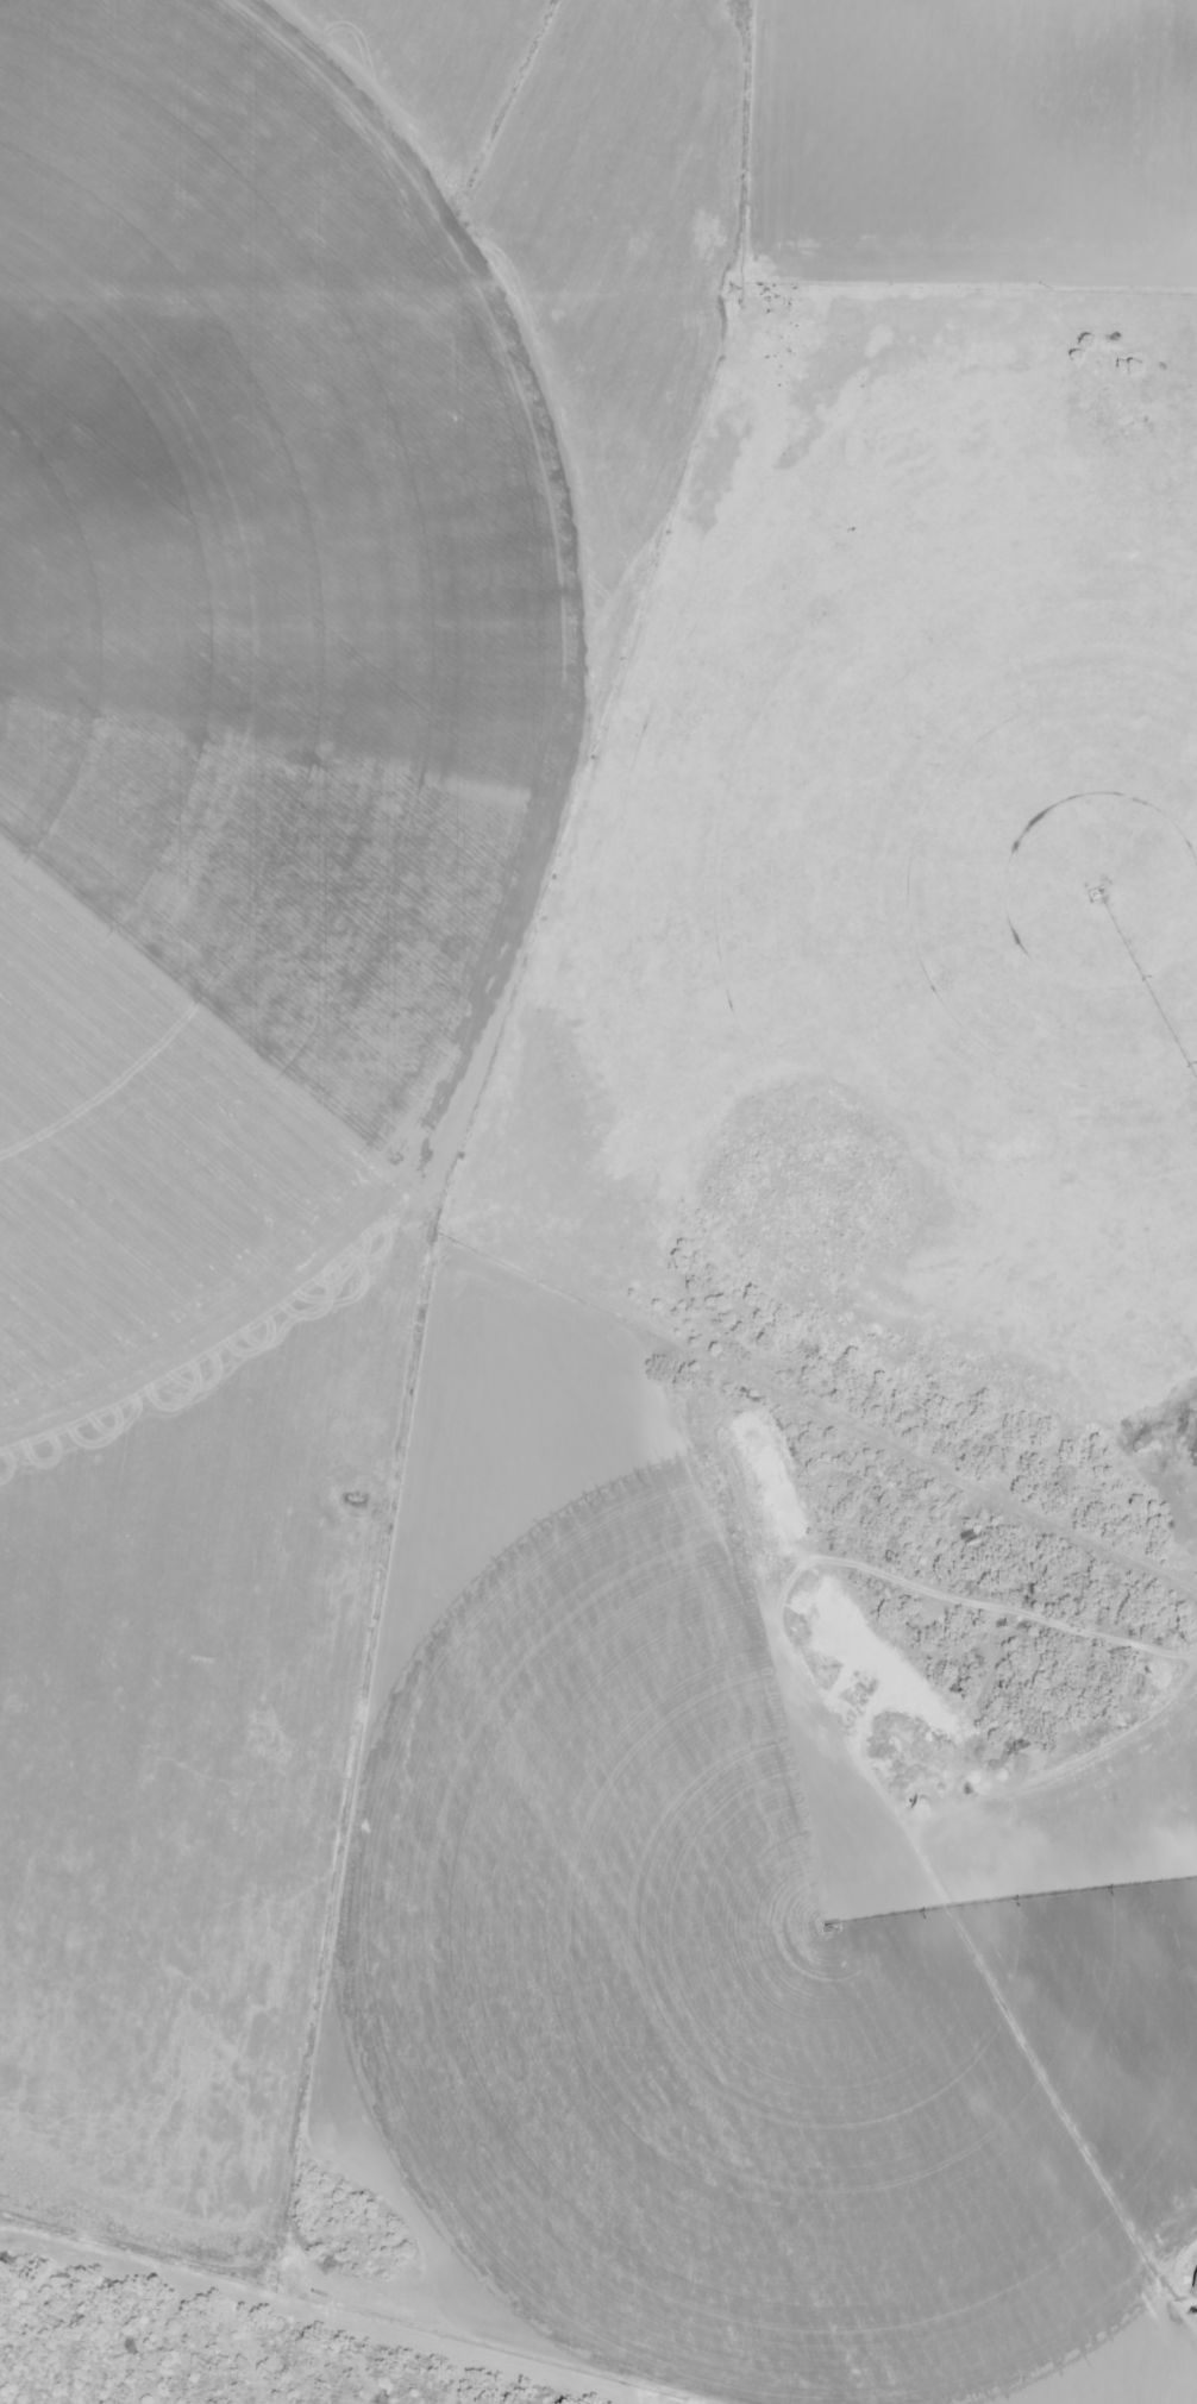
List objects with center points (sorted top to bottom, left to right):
road: (644, 1218)
road: (320, 1243)
road: (1171, 1757)
road: (1023, 2073)
building: (1195, 2281)

